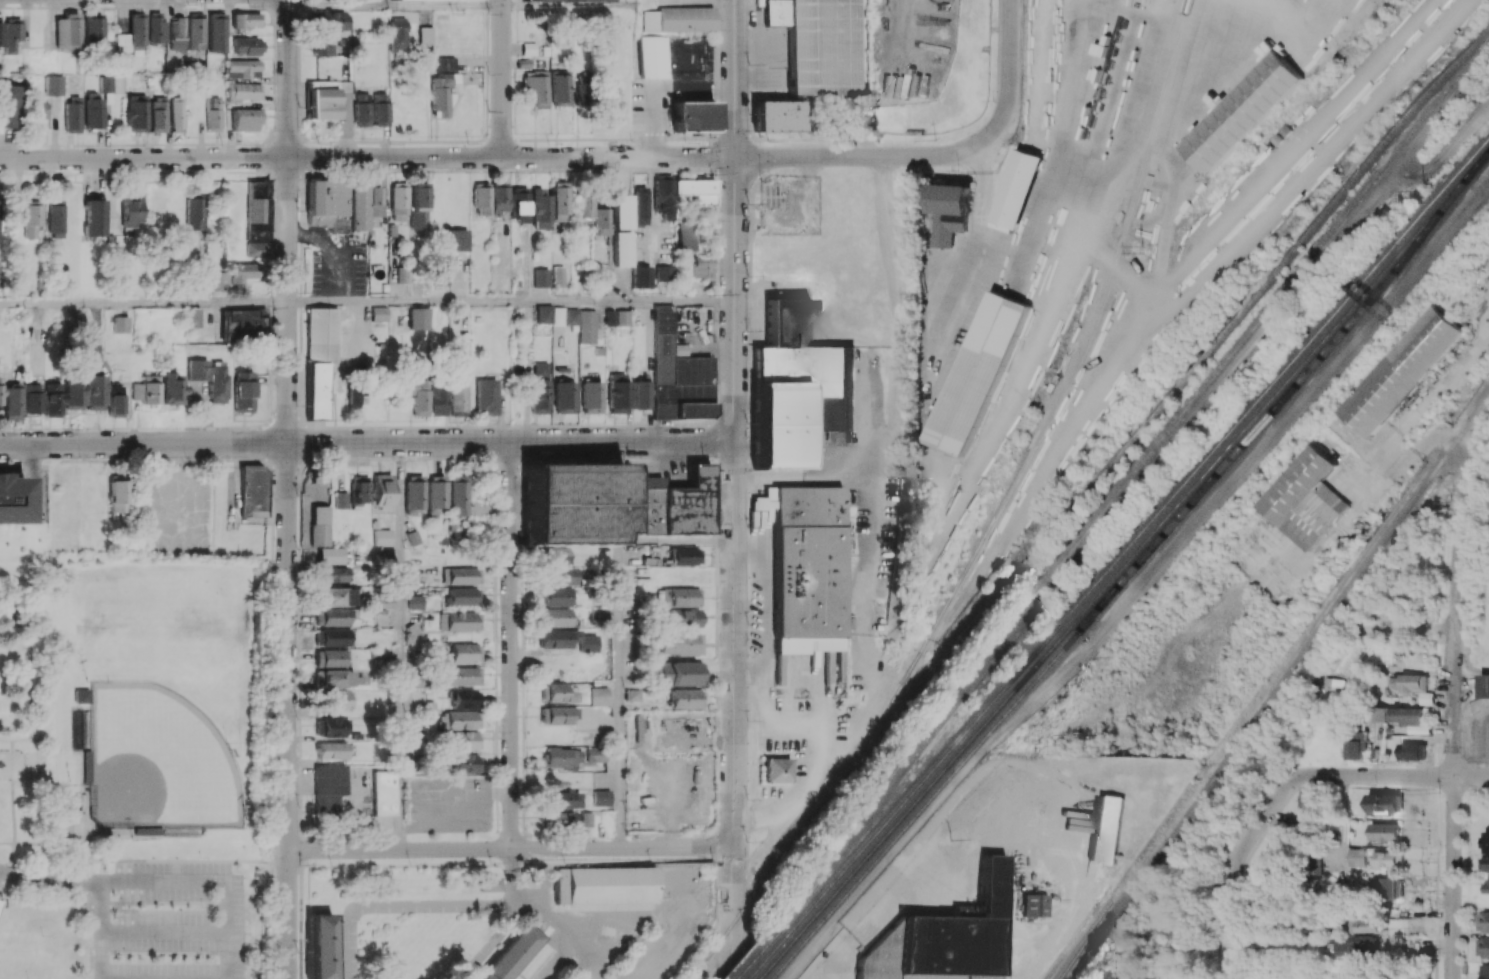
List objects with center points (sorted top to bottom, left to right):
building: (444, 0)
building: (569, 0)
road: (386, 2)
road: (332, 4)
road: (444, 4)
road: (560, 4)
building: (775, 13)
road: (1145, 13)
building: (245, 19)
building: (678, 19)
building: (332, 20)
building: (156, 28)
building: (136, 30)
building: (195, 30)
building: (67, 31)
building: (92, 31)
building: (216, 32)
building: (1, 33)
building: (397, 33)
building: (176, 35)
building: (425, 35)
building: (12, 36)
building: (122, 42)
building: (246, 45)
building: (322, 46)
building: (823, 47)
building: (528, 48)
building: (654, 56)
building: (443, 63)
road: (1005, 65)
building: (242, 66)
road: (502, 78)
road: (736, 78)
building: (105, 84)
building: (53, 85)
road: (701, 85)
building: (536, 87)
building: (560, 87)
building: (243, 90)
building: (439, 94)
building: (322, 96)
building: (7, 106)
building: (380, 109)
building: (361, 111)
building: (94, 112)
building: (1243, 112)
building: (136, 113)
building: (175, 113)
building: (40, 114)
building: (72, 114)
building: (157, 115)
building: (213, 115)
road: (652, 115)
building: (693, 116)
building: (776, 116)
building: (246, 118)
road: (1139, 127)
road: (1061, 140)
road: (1448, 152)
road: (869, 156)
road: (367, 157)
traffic signals: (736, 157)
building: (695, 191)
building: (1018, 191)
power tower: (1421, 193)
building: (418, 195)
building: (663, 196)
building: (482, 198)
building: (500, 198)
building: (559, 200)
building: (376, 202)
building: (399, 202)
building: (335, 204)
building: (519, 204)
building: (584, 205)
building: (639, 205)
building: (540, 209)
building: (132, 210)
building: (621, 211)
building: (950, 211)
building: (14, 212)
building: (195, 213)
building: (94, 217)
building: (258, 218)
building: (55, 220)
road: (288, 220)
building: (600, 221)
building: (419, 222)
building: (392, 229)
building: (684, 234)
building: (458, 239)
road: (342, 243)
railway: (1397, 245)
road: (336, 249)
building: (622, 249)
railway: (1399, 255)
road: (975, 256)
power tower: (1145, 256)
building: (703, 265)
building: (439, 270)
building: (243, 272)
building: (663, 272)
building: (402, 274)
building: (558, 276)
building: (641, 276)
building: (541, 277)
road: (1296, 286)
road: (901, 298)
road: (512, 301)
road: (144, 302)
building: (379, 313)
building: (543, 313)
building: (193, 317)
building: (563, 317)
building: (617, 317)
building: (121, 324)
building: (245, 324)
building: (586, 326)
building: (319, 357)
building: (677, 372)
building: (981, 373)
building: (1402, 373)
building: (209, 377)
building: (792, 382)
building: (168, 388)
building: (144, 389)
building: (617, 390)
building: (243, 391)
building: (83, 392)
building: (639, 392)
building: (563, 394)
building: (591, 394)
building: (456, 395)
building: (354, 396)
building: (427, 396)
building: (486, 396)
building: (539, 396)
building: (32, 398)
building: (52, 399)
railway: (1060, 400)
building: (12, 401)
building: (113, 404)
road: (367, 443)
road: (1431, 443)
railway: (1126, 445)
building: (1297, 482)
building: (252, 490)
railway: (1121, 490)
building: (381, 491)
building: (352, 492)
building: (414, 493)
building: (436, 493)
building: (118, 495)
building: (458, 495)
building: (612, 499)
building: (12, 500)
building: (764, 500)
building: (1315, 514)
building: (319, 525)
building: (381, 537)
road: (677, 540)
road: (753, 543)
building: (685, 554)
building: (329, 555)
building: (556, 555)
road: (735, 559)
building: (808, 569)
building: (332, 574)
railway: (1128, 574)
building: (461, 575)
building: (560, 575)
road: (1141, 585)
building: (334, 596)
building: (462, 596)
building: (557, 596)
building: (678, 596)
building: (414, 601)
building: (383, 602)
park: (167, 610)
road: (767, 613)
building: (600, 614)
building: (19, 616)
building: (558, 616)
building: (332, 617)
building: (684, 617)
building: (459, 621)
road: (1452, 626)
building: (332, 637)
building: (555, 639)
building: (680, 643)
road: (511, 645)
road: (400, 646)
building: (465, 652)
road: (30, 653)
railway: (1034, 656)
road: (274, 659)
railway: (1037, 666)
building: (333, 669)
building: (678, 673)
building: (462, 676)
building: (1409, 683)
building: (1485, 684)
railway: (1276, 686)
building: (557, 692)
road: (620, 694)
building: (631, 694)
building: (599, 695)
building: (82, 697)
building: (685, 698)
building: (337, 699)
building: (464, 699)
road: (289, 710)
building: (557, 714)
building: (1397, 715)
building: (461, 719)
building: (334, 726)
road: (749, 728)
building: (1419, 729)
road: (5, 739)
road: (821, 739)
building: (465, 740)
building: (1356, 746)
building: (330, 750)
building: (1412, 751)
building: (595, 753)
building: (559, 757)
park: (158, 762)
road: (1022, 762)
building: (465, 763)
park: (132, 765)
building: (777, 769)
road: (1335, 775)
building: (327, 789)
road: (445, 790)
road: (11, 791)
building: (383, 793)
building: (601, 797)
building: (561, 799)
building: (1385, 803)
building: (1307, 806)
building: (557, 819)
building: (1105, 827)
building: (1385, 832)
building: (1486, 842)
road: (63, 843)
road: (8, 844)
road: (513, 848)
building: (1357, 856)
road: (681, 857)
building: (1389, 859)
road: (183, 861)
building: (1486, 863)
road: (92, 867)
road: (8, 873)
road: (1449, 877)
road: (49, 882)
building: (488, 884)
building: (604, 885)
building: (1484, 886)
building: (1388, 888)
road: (423, 903)
building: (1034, 904)
road: (51, 906)
road: (101, 907)
road: (164, 907)
road: (227, 907)
parking lot: (167, 908)
building: (1482, 921)
road: (1229, 924)
railway: (736, 925)
building: (1370, 925)
road: (563, 928)
building: (945, 937)
road: (491, 942)
building: (1357, 946)
building: (319, 947)
building: (1482, 947)
building: (513, 955)
road: (555, 959)
railway: (750, 965)
road: (735, 971)
railway: (755, 971)
building: (1484, 971)
road: (823, 974)
building: (1355, 976)
railway: (759, 977)

